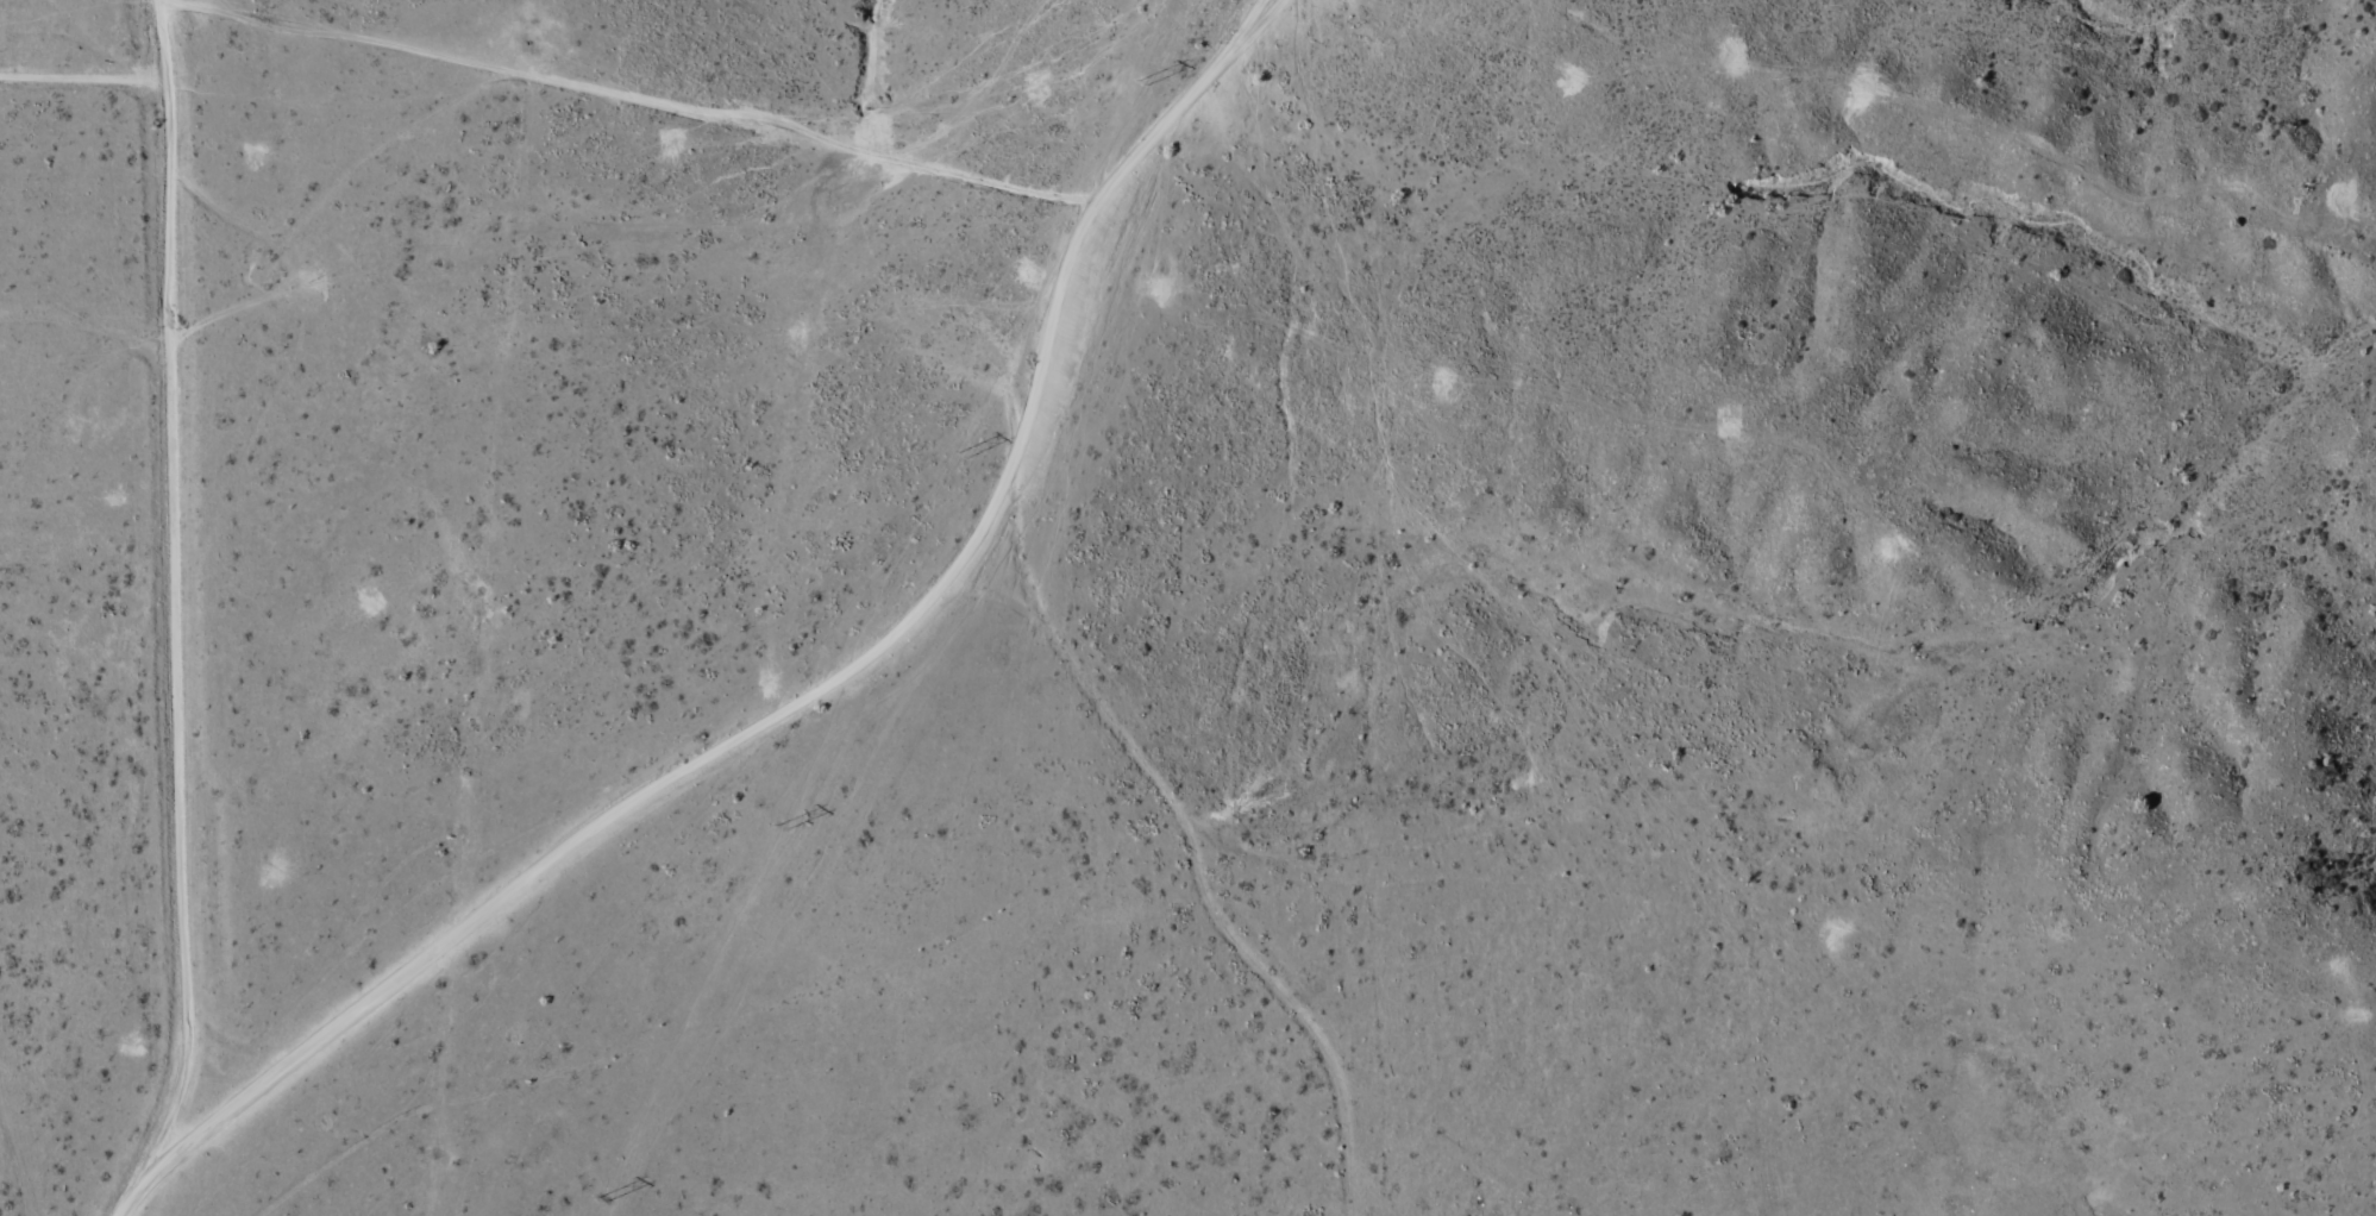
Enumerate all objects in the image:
power tower: (1140, 84)
power tower: (961, 457)
power tower: (782, 829)
power tower: (602, 1199)

